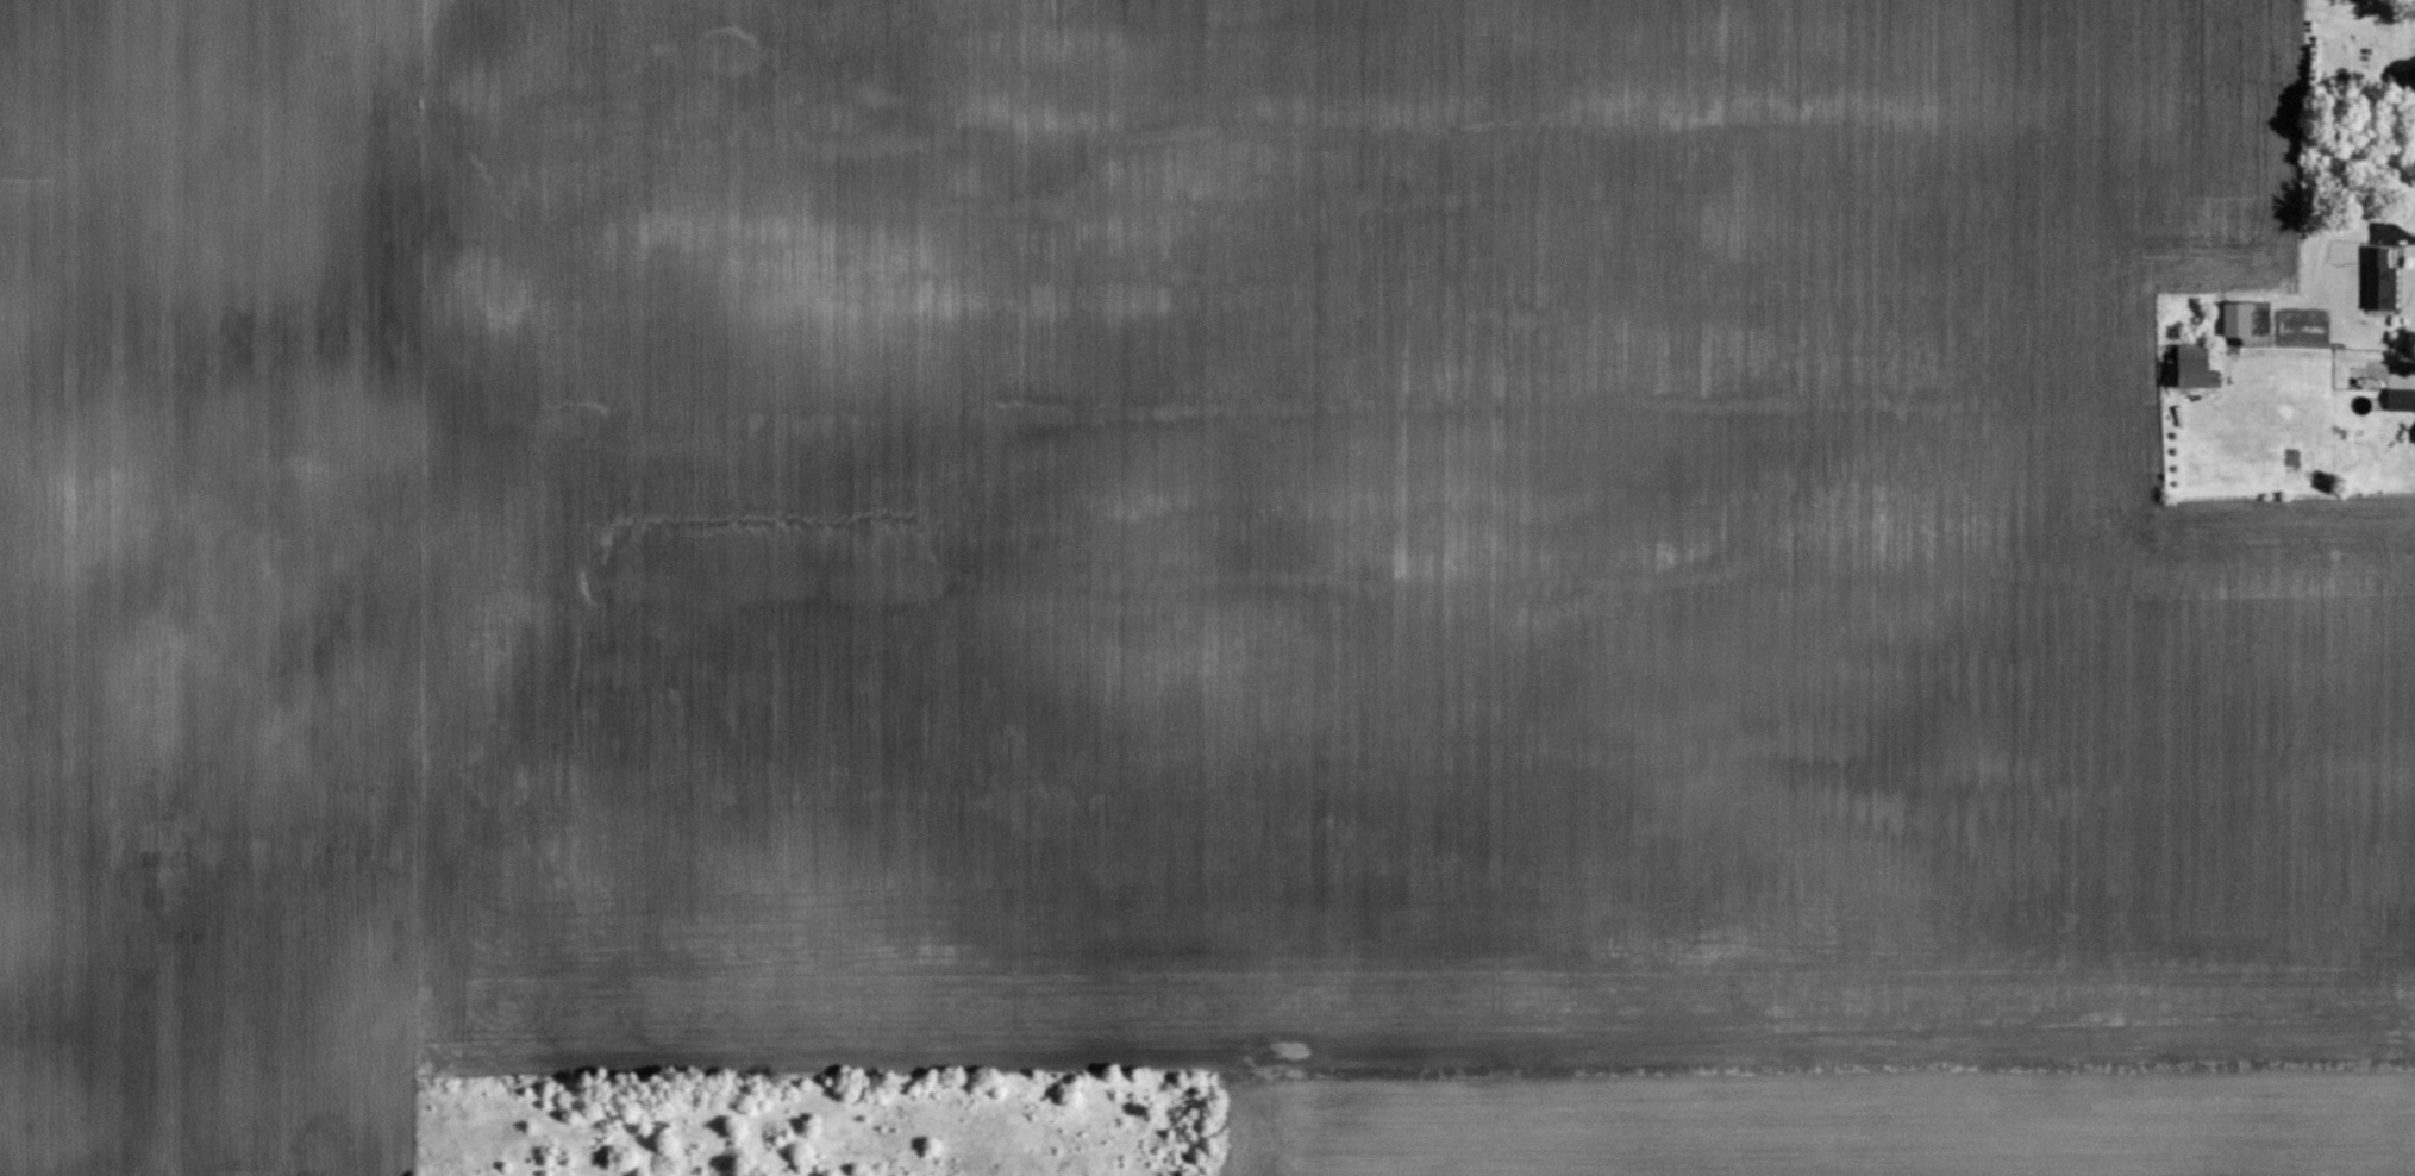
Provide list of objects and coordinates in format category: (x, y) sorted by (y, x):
building: (2191, 364)

